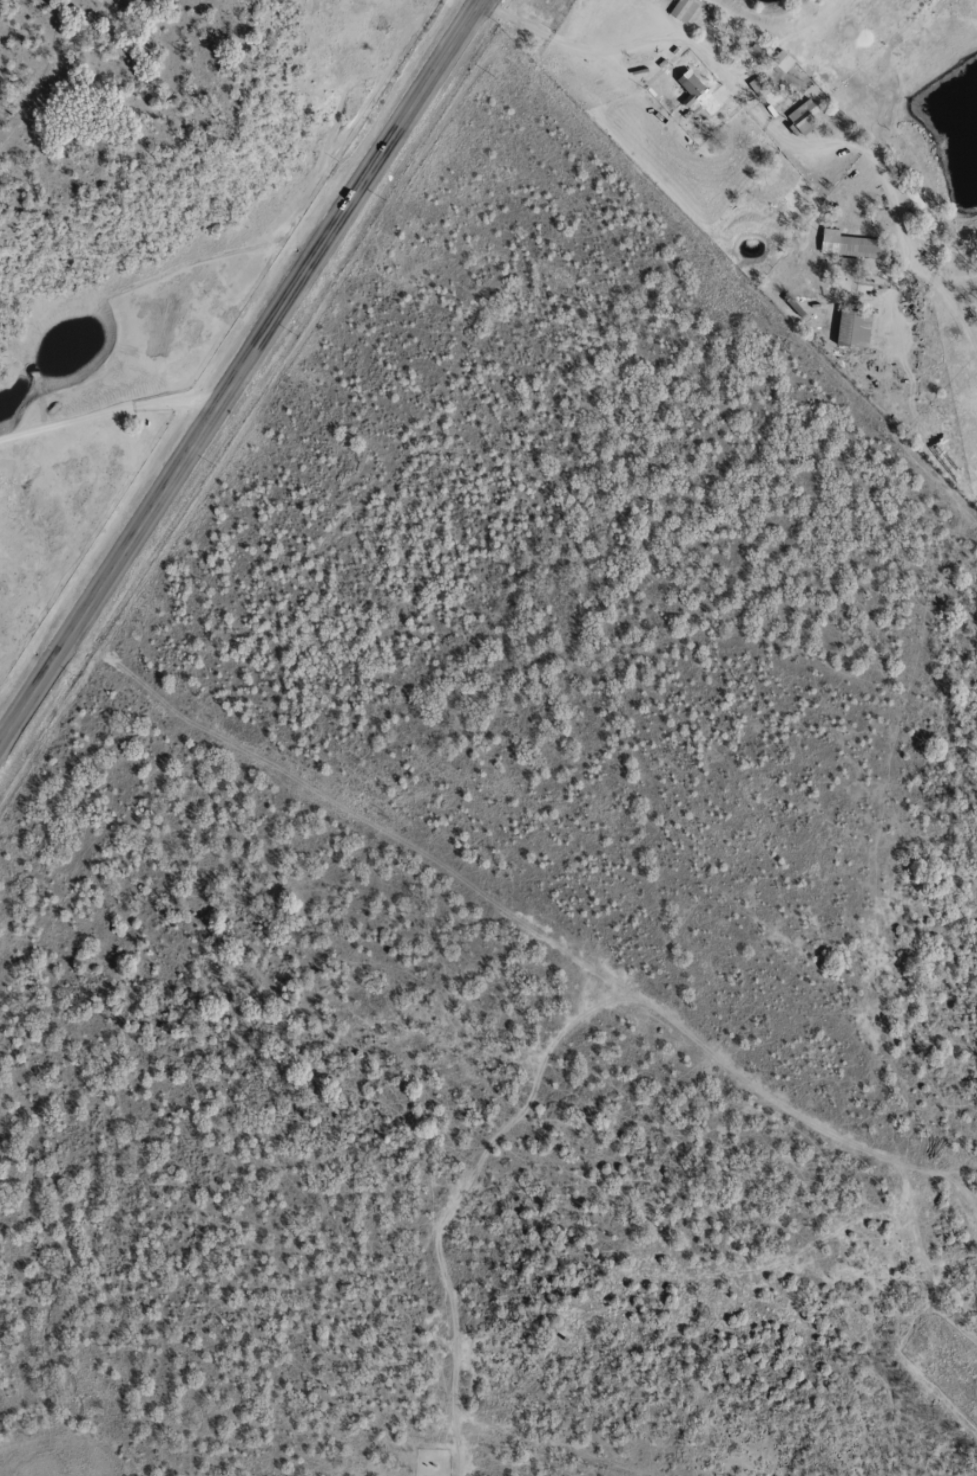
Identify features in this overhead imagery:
road: (345, 79)
building: (703, 92)
building: (802, 116)
building: (849, 246)
building: (853, 328)
road: (238, 370)

